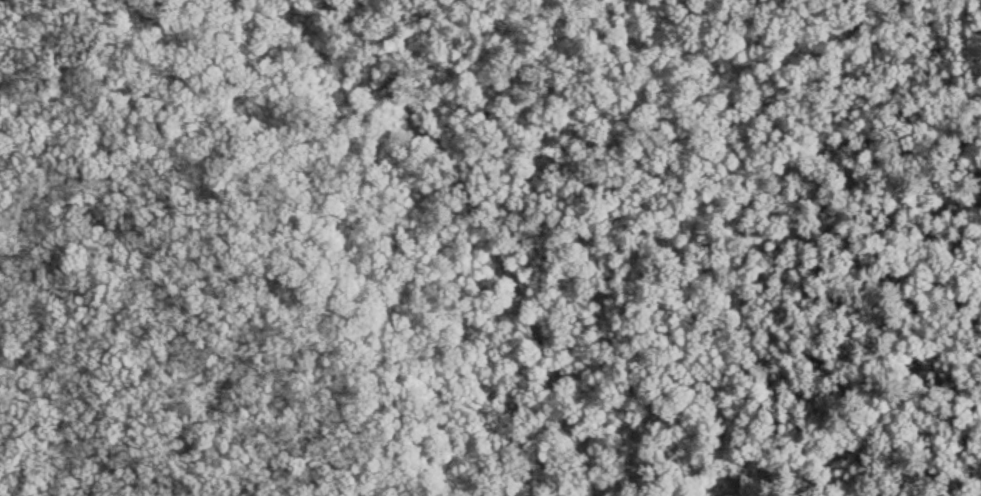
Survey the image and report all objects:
road: (942, 40)
road: (736, 203)
road: (492, 237)
road: (663, 448)
road: (722, 457)

